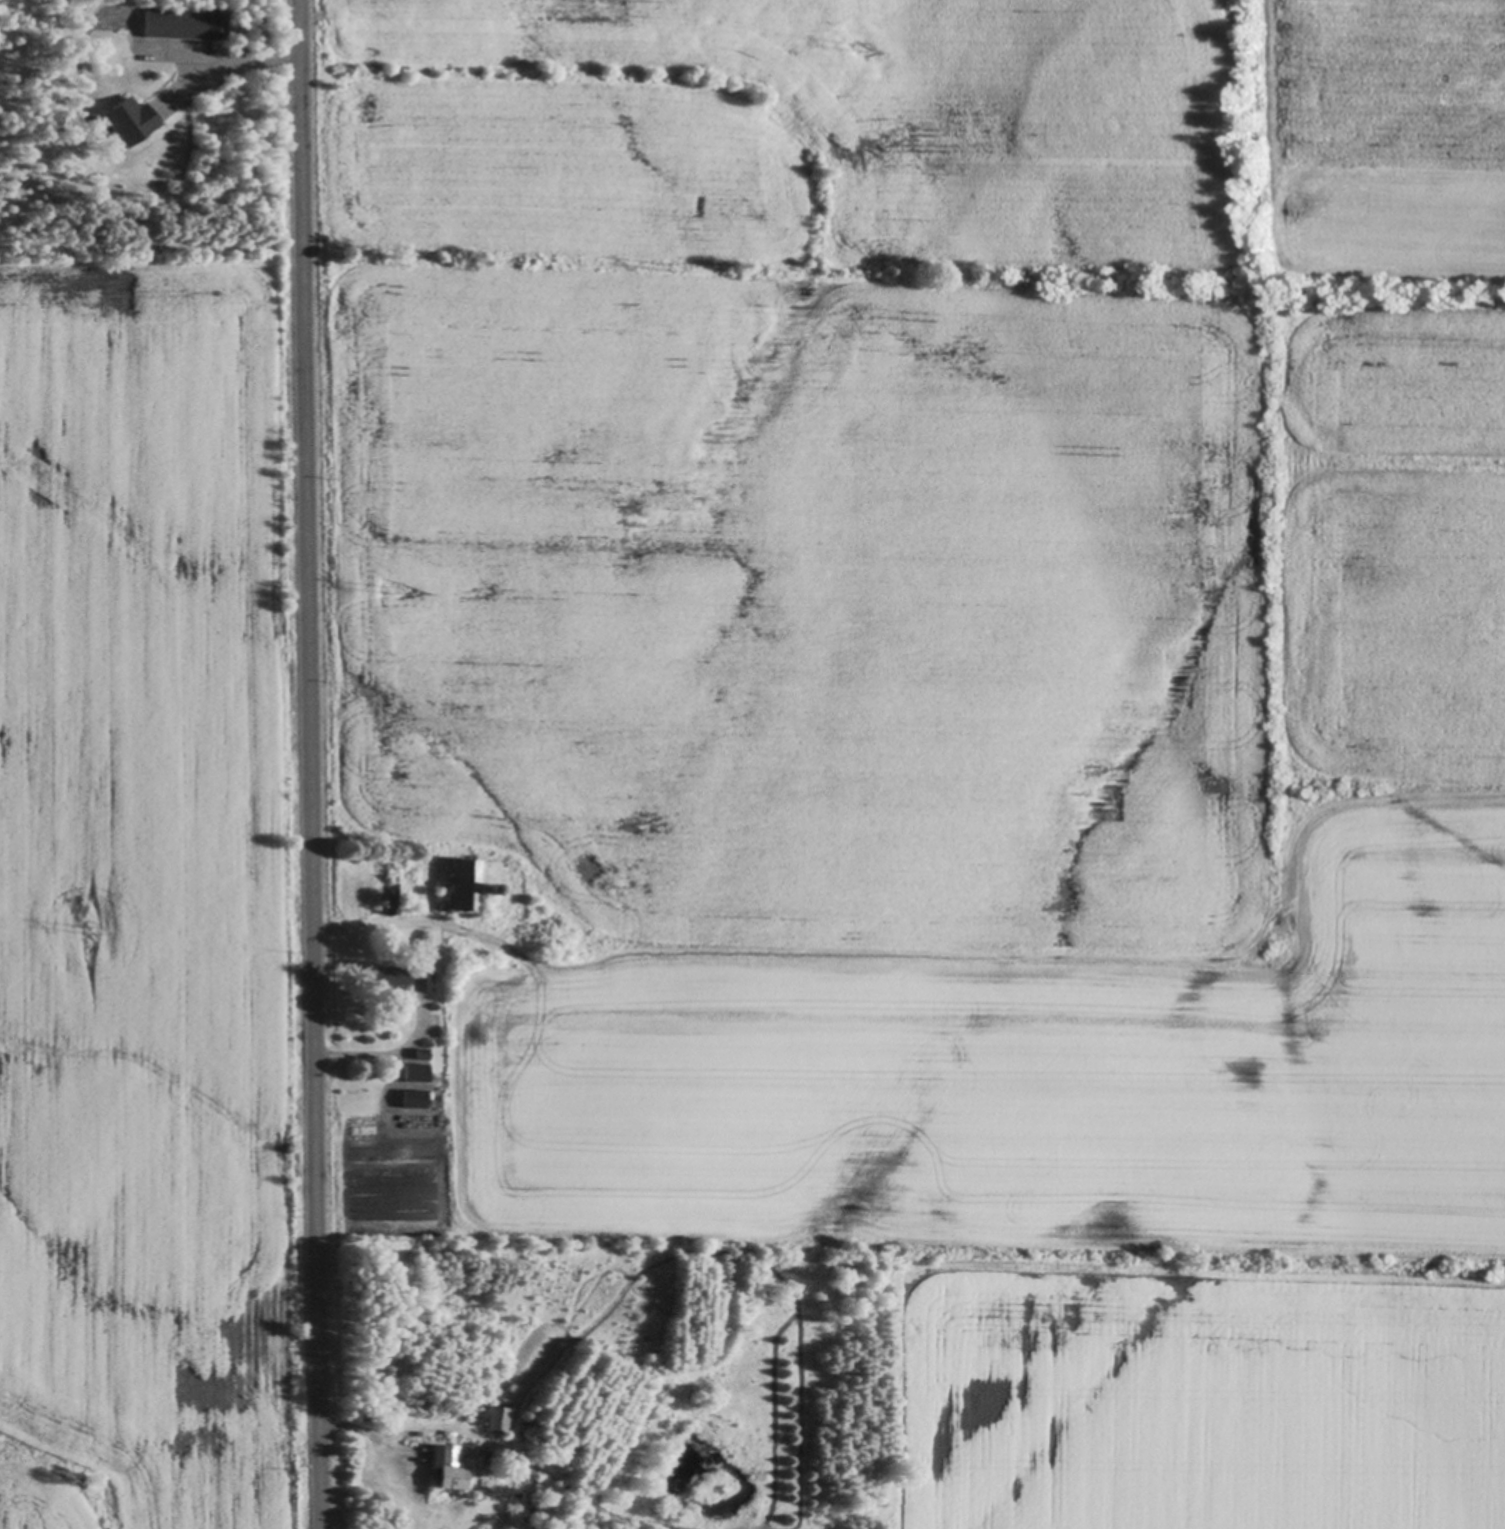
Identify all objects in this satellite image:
building: (184, 23)
power tower: (858, 45)
building: (129, 119)
power tower: (671, 264)
power tower: (386, 590)
road: (305, 764)
building: (461, 882)
building: (484, 889)
building: (388, 904)
power tower: (85, 933)
building: (388, 942)
building: (418, 972)
building: (385, 975)
building: (419, 1052)
building: (412, 1072)
building: (413, 1098)
building: (535, 1388)
building: (495, 1418)
building: (443, 1467)

